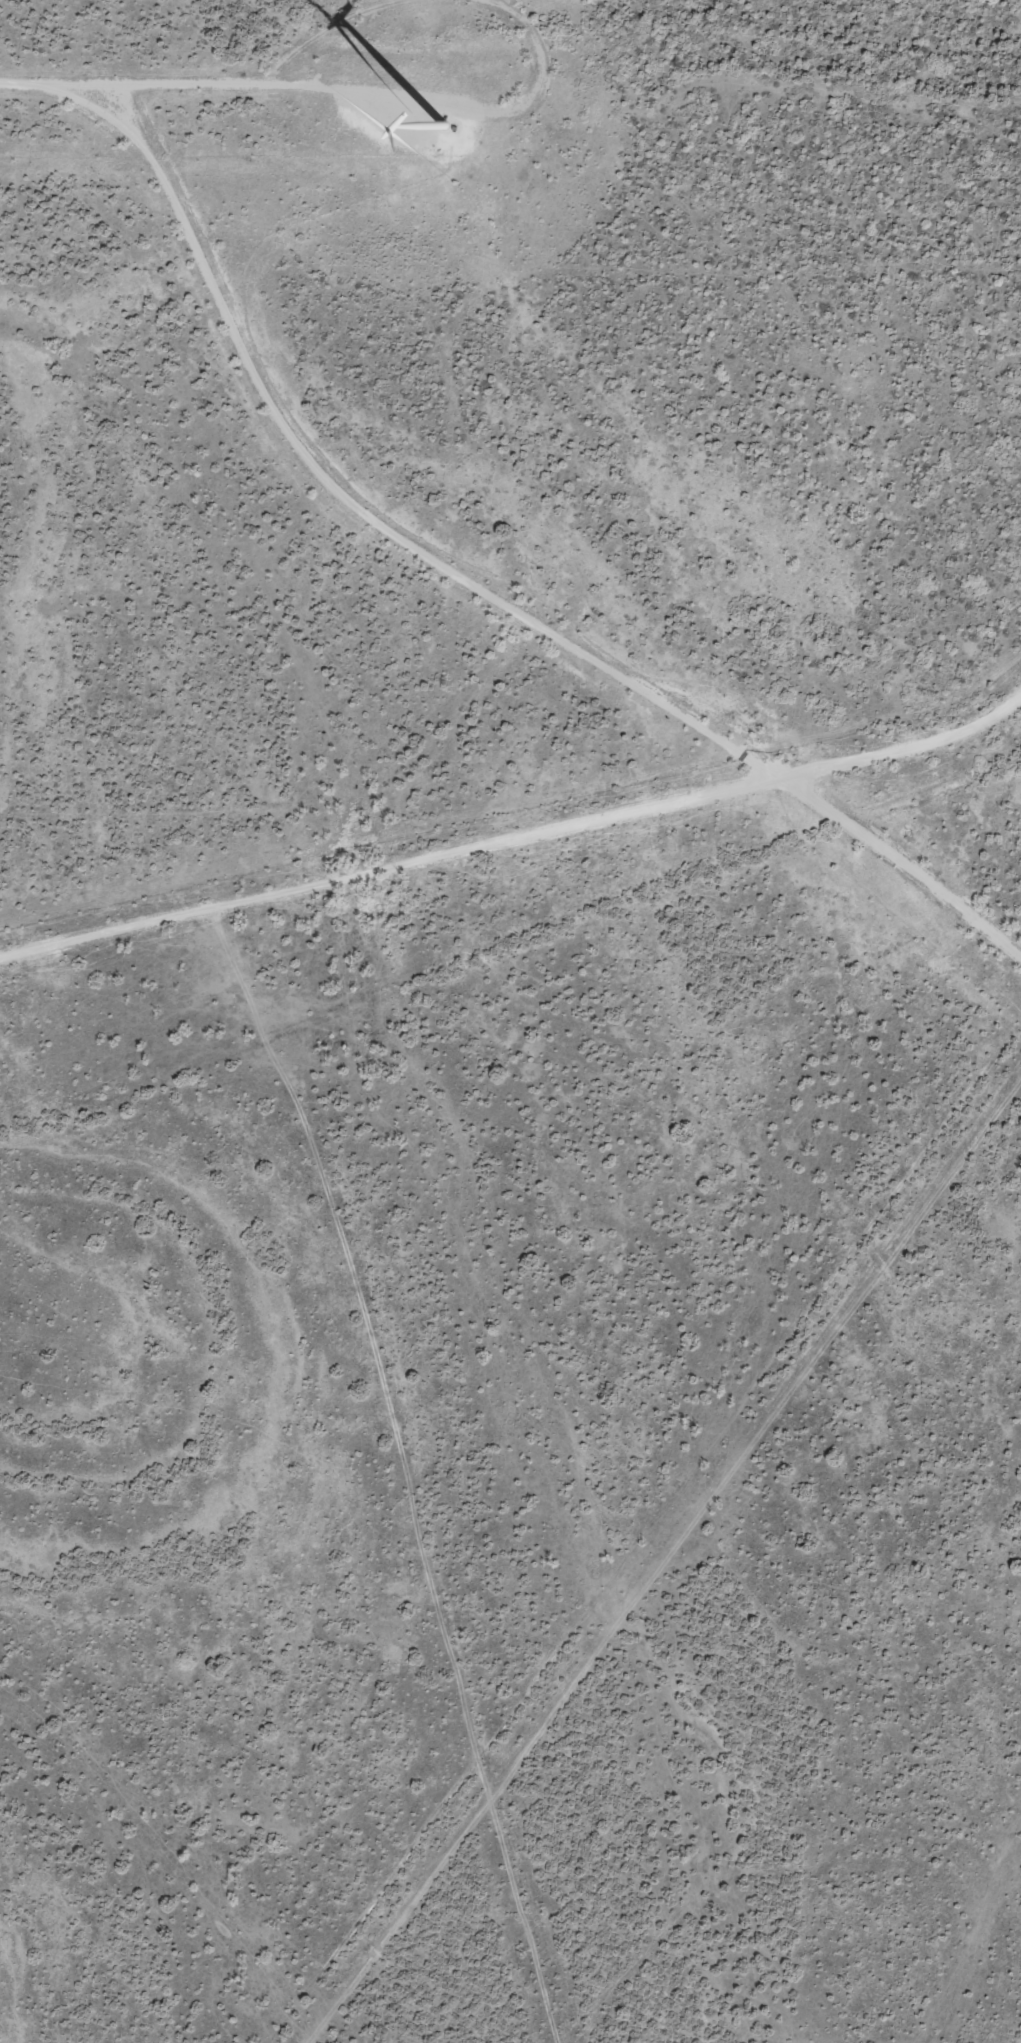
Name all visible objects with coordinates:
wind turbine: (445, 118)
road: (523, 858)

